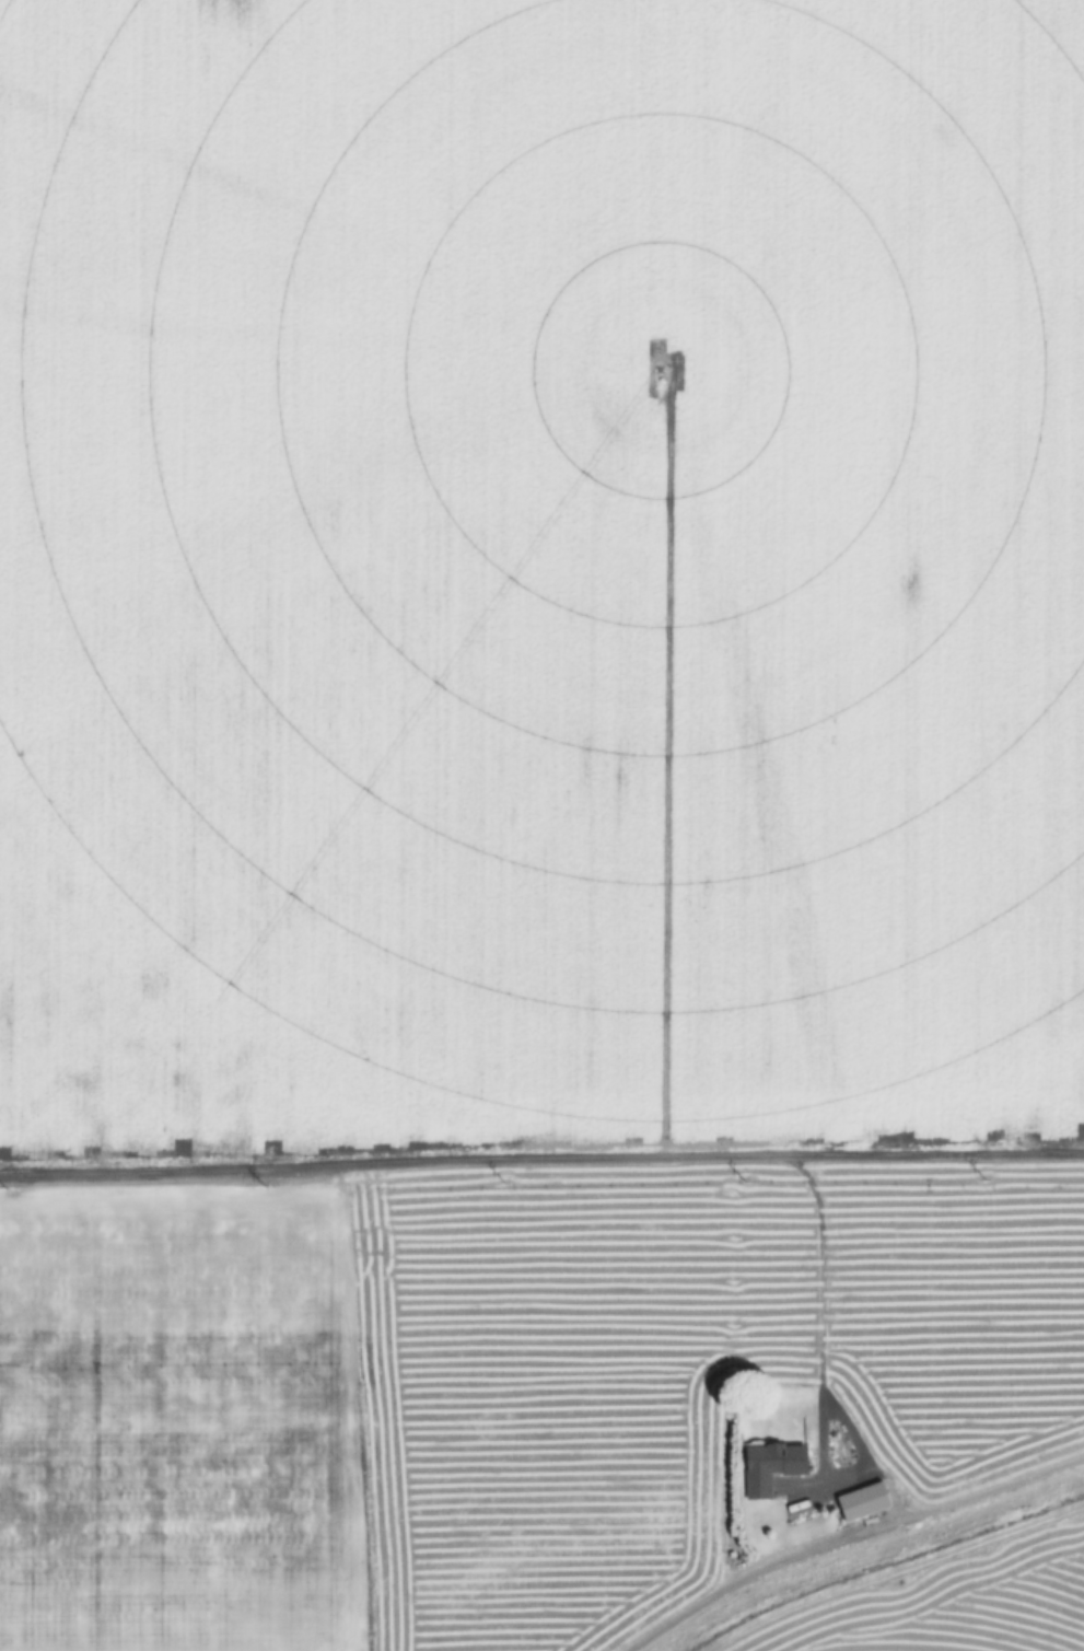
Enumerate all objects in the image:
road: (541, 1166)
building: (773, 1469)
building: (863, 1501)
road: (834, 1538)

